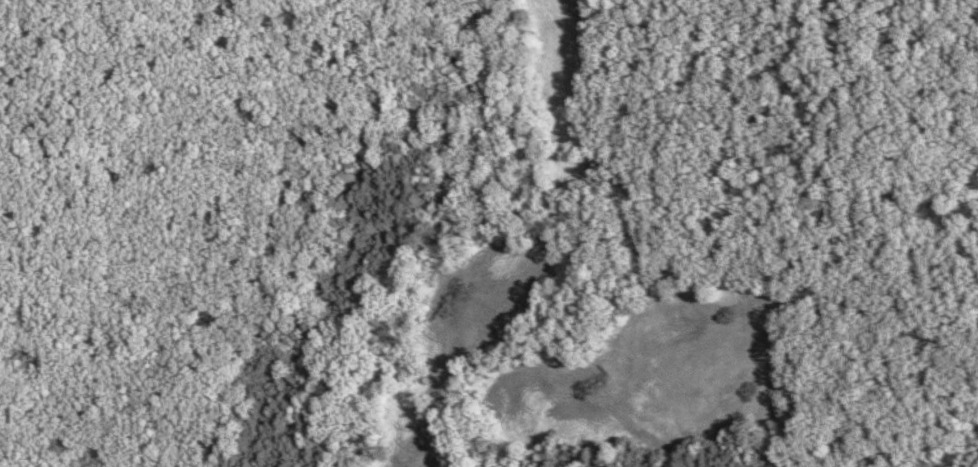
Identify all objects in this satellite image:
road: (780, 269)

